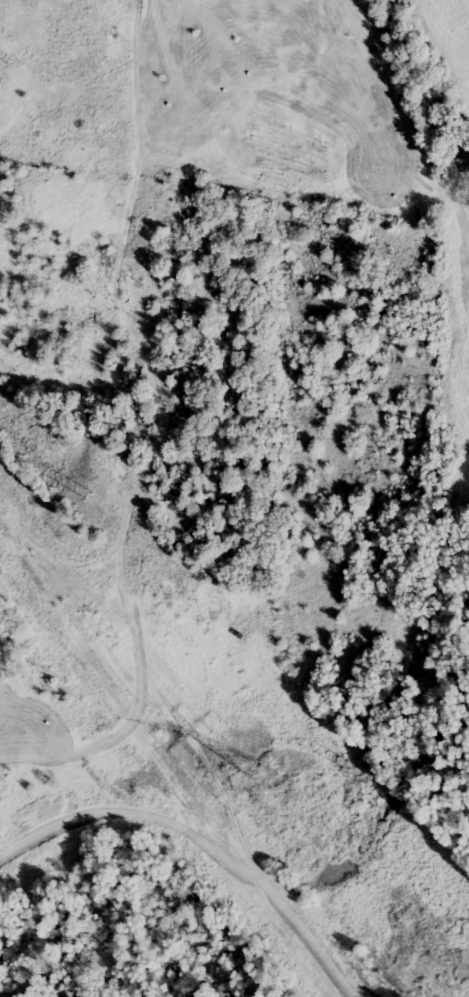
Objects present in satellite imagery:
power tower: (267, 777)

